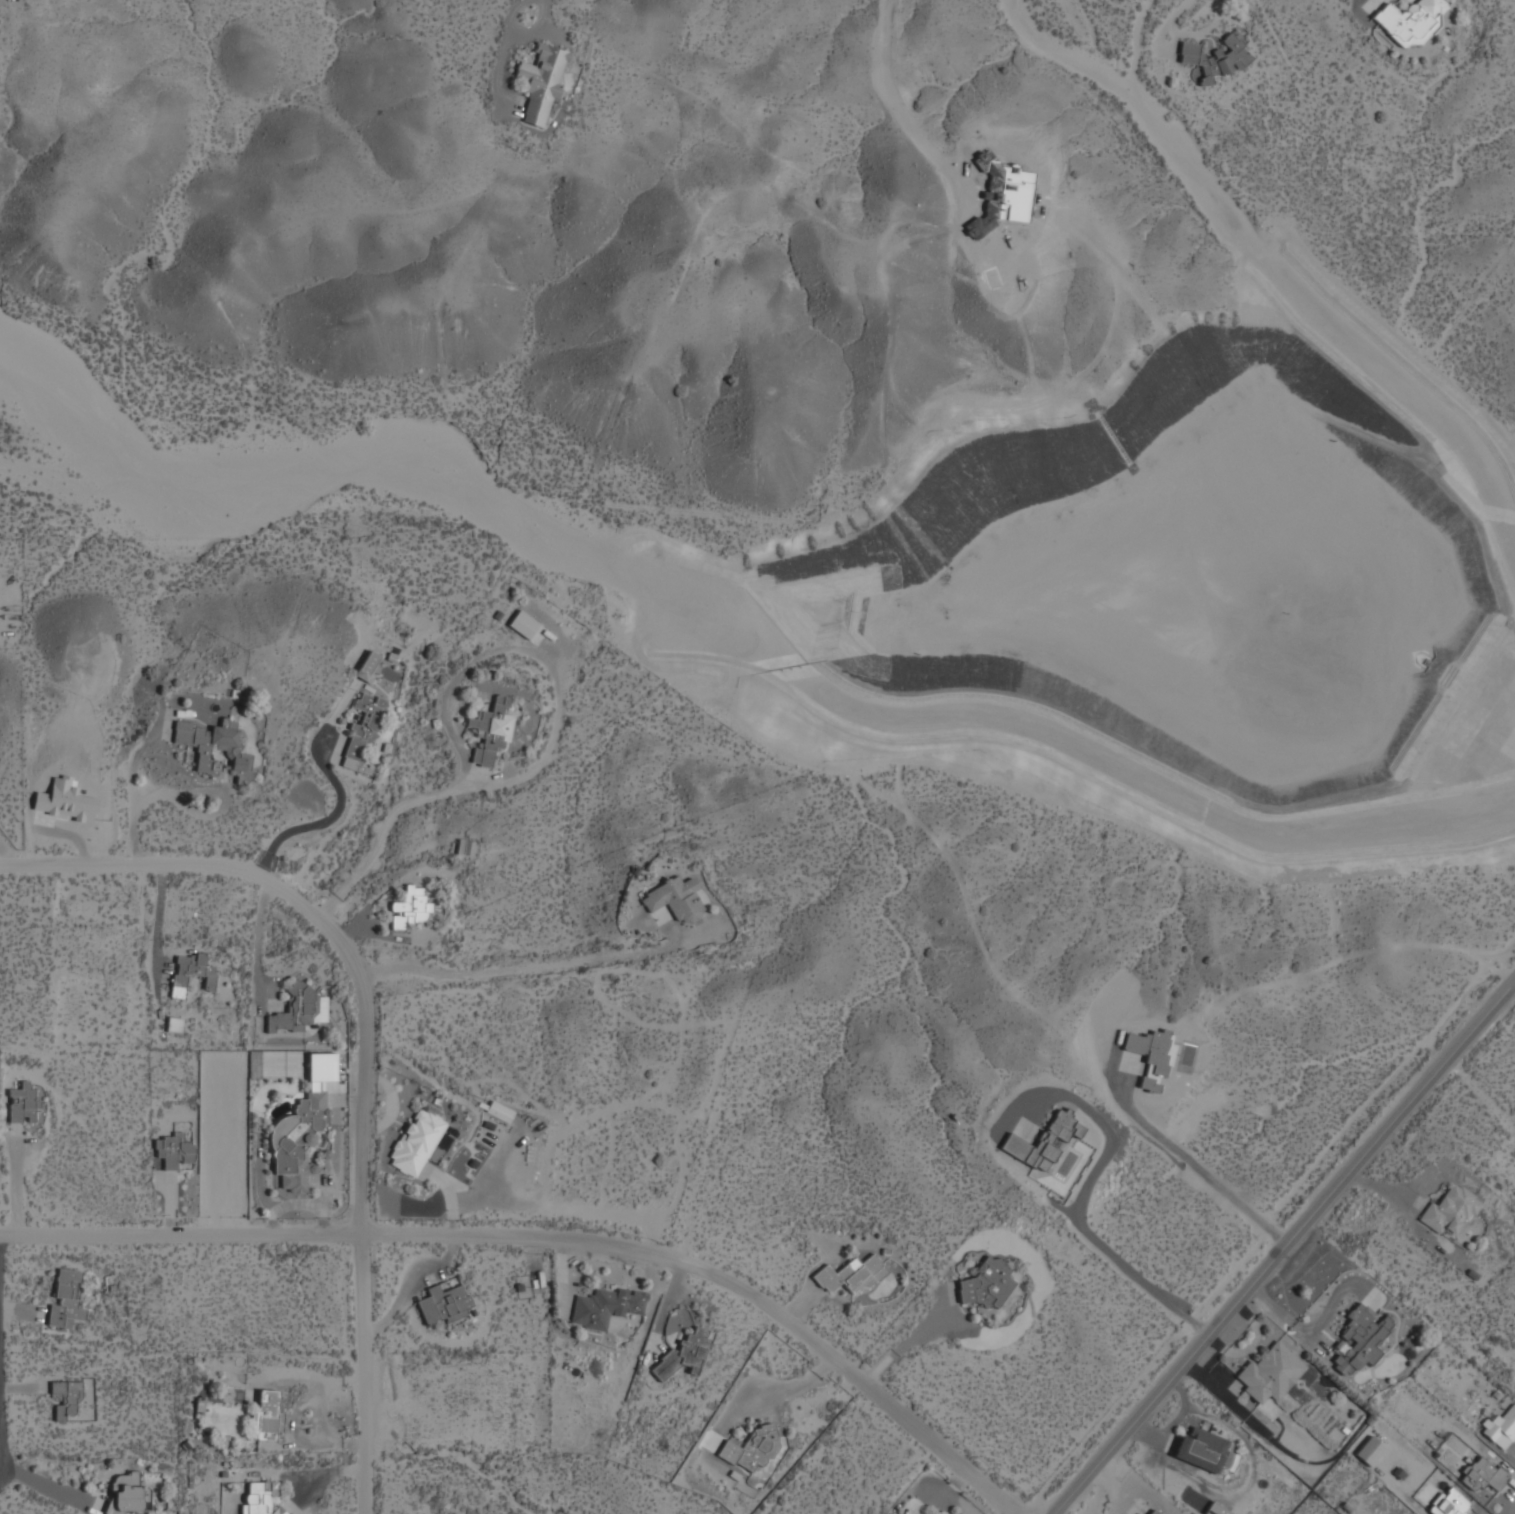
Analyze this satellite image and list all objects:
road: (538, 8)
building: (1411, 20)
building: (1216, 57)
building: (541, 80)
building: (524, 623)
building: (366, 667)
building: (492, 730)
building: (363, 733)
building: (235, 752)
road: (442, 790)
building: (675, 898)
building: (410, 907)
road: (510, 969)
building: (191, 972)
building: (296, 1009)
building: (175, 1024)
road: (363, 1042)
building: (23, 1102)
building: (499, 1112)
building: (297, 1138)
building: (416, 1142)
building: (1041, 1142)
building: (175, 1151)
road: (1080, 1203)
building: (1451, 1209)
road: (550, 1234)
road: (1286, 1246)
building: (852, 1274)
building: (986, 1282)
building: (65, 1301)
building: (443, 1304)
building: (605, 1307)
building: (1361, 1339)
building: (682, 1355)
building: (1271, 1371)
building: (65, 1398)
building: (266, 1417)
building: (1501, 1427)
building: (751, 1449)
building: (1201, 1449)
road: (0, 1452)
building: (1483, 1474)
building: (127, 1495)
building: (261, 1498)
building: (1450, 1503)
building: (1217, 1509)
building: (1153, 1512)

